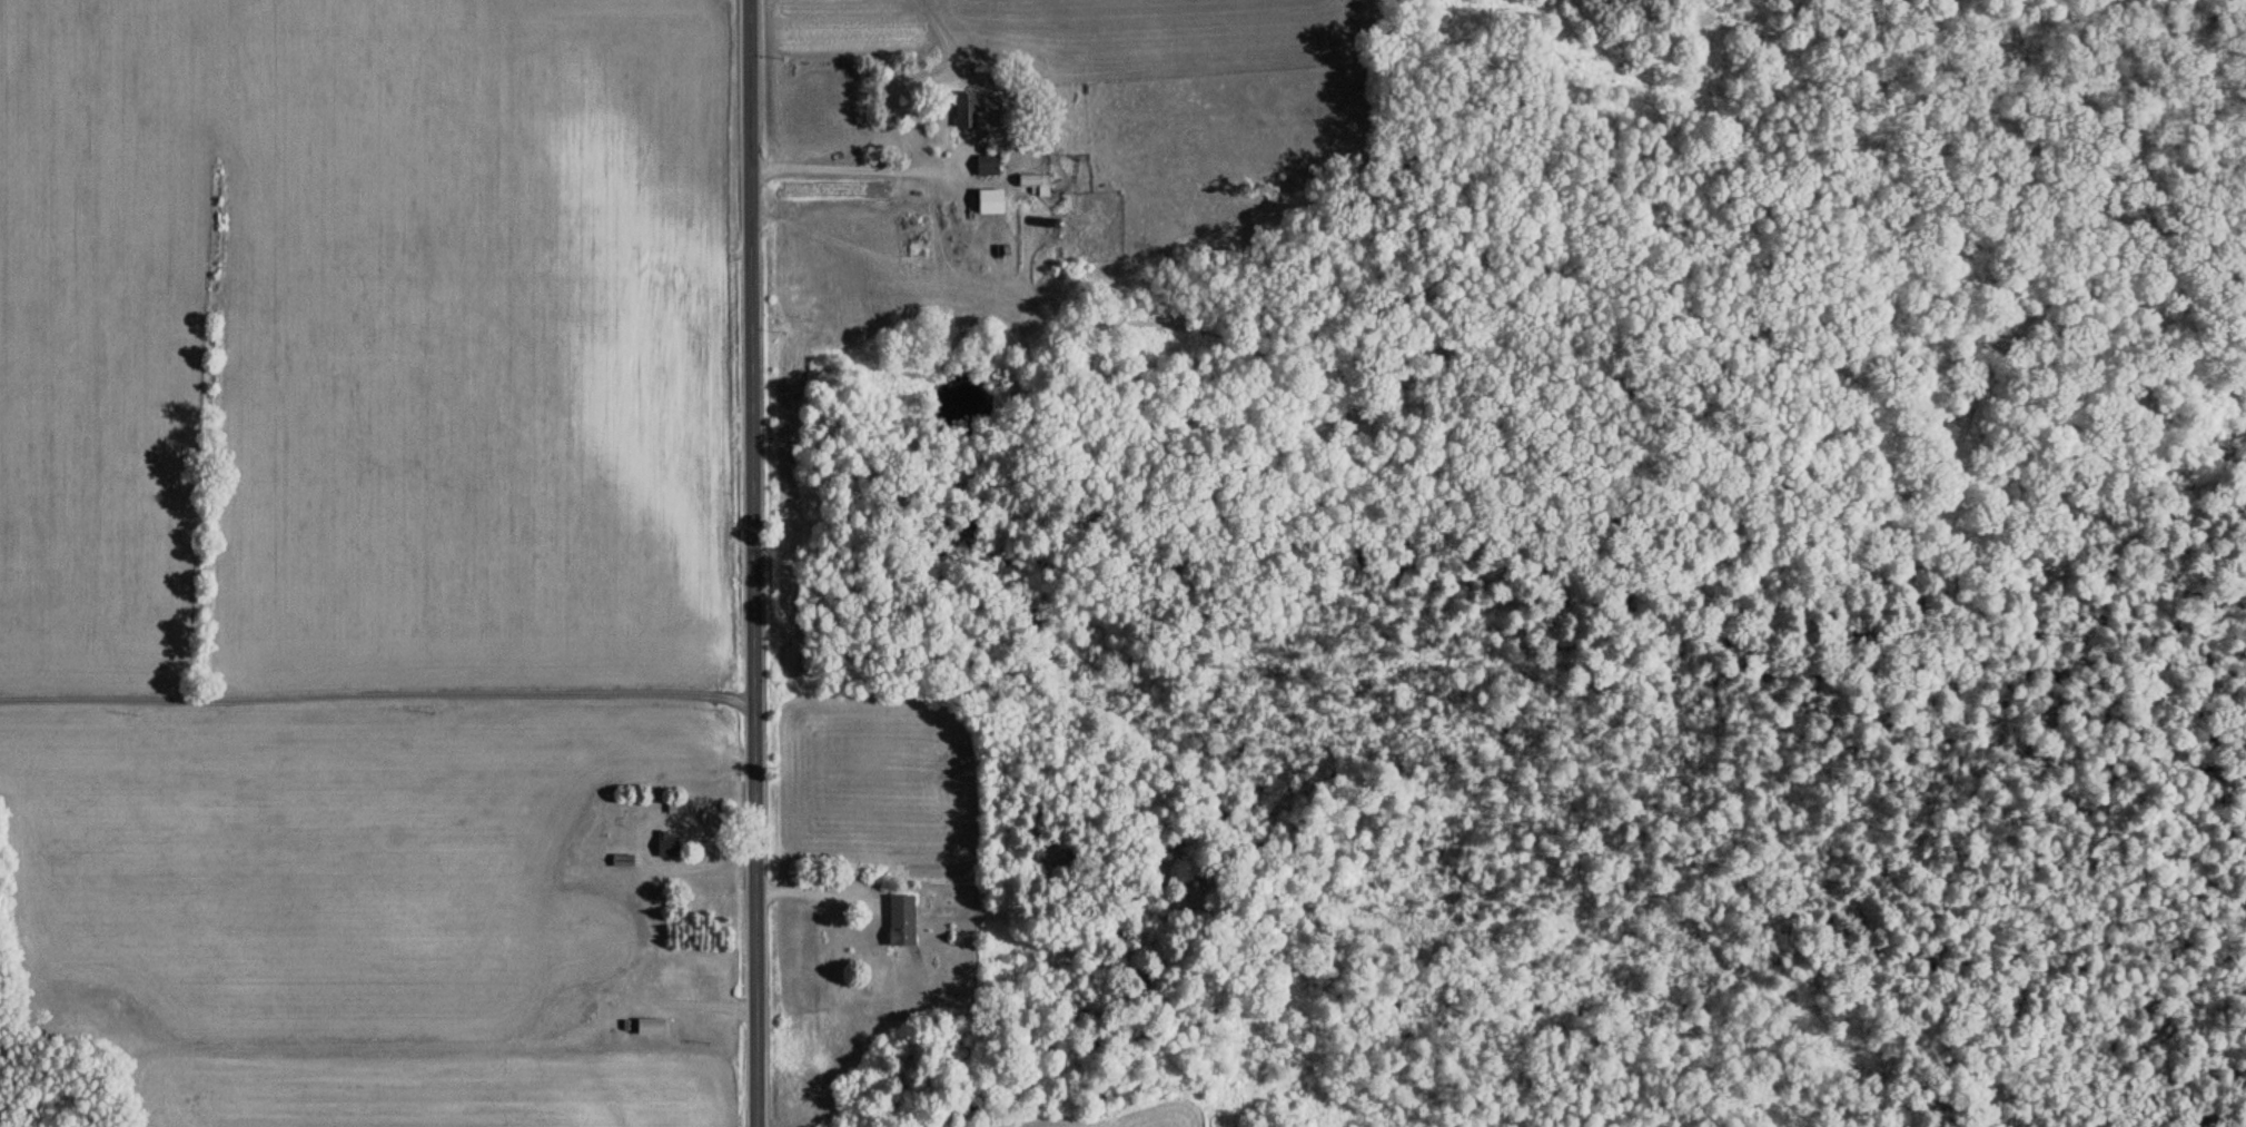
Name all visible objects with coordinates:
building: (960, 110)
building: (983, 165)
building: (1031, 182)
building: (987, 200)
road: (750, 563)
road: (376, 693)
building: (664, 844)
building: (619, 860)
building: (898, 920)
building: (646, 1026)

